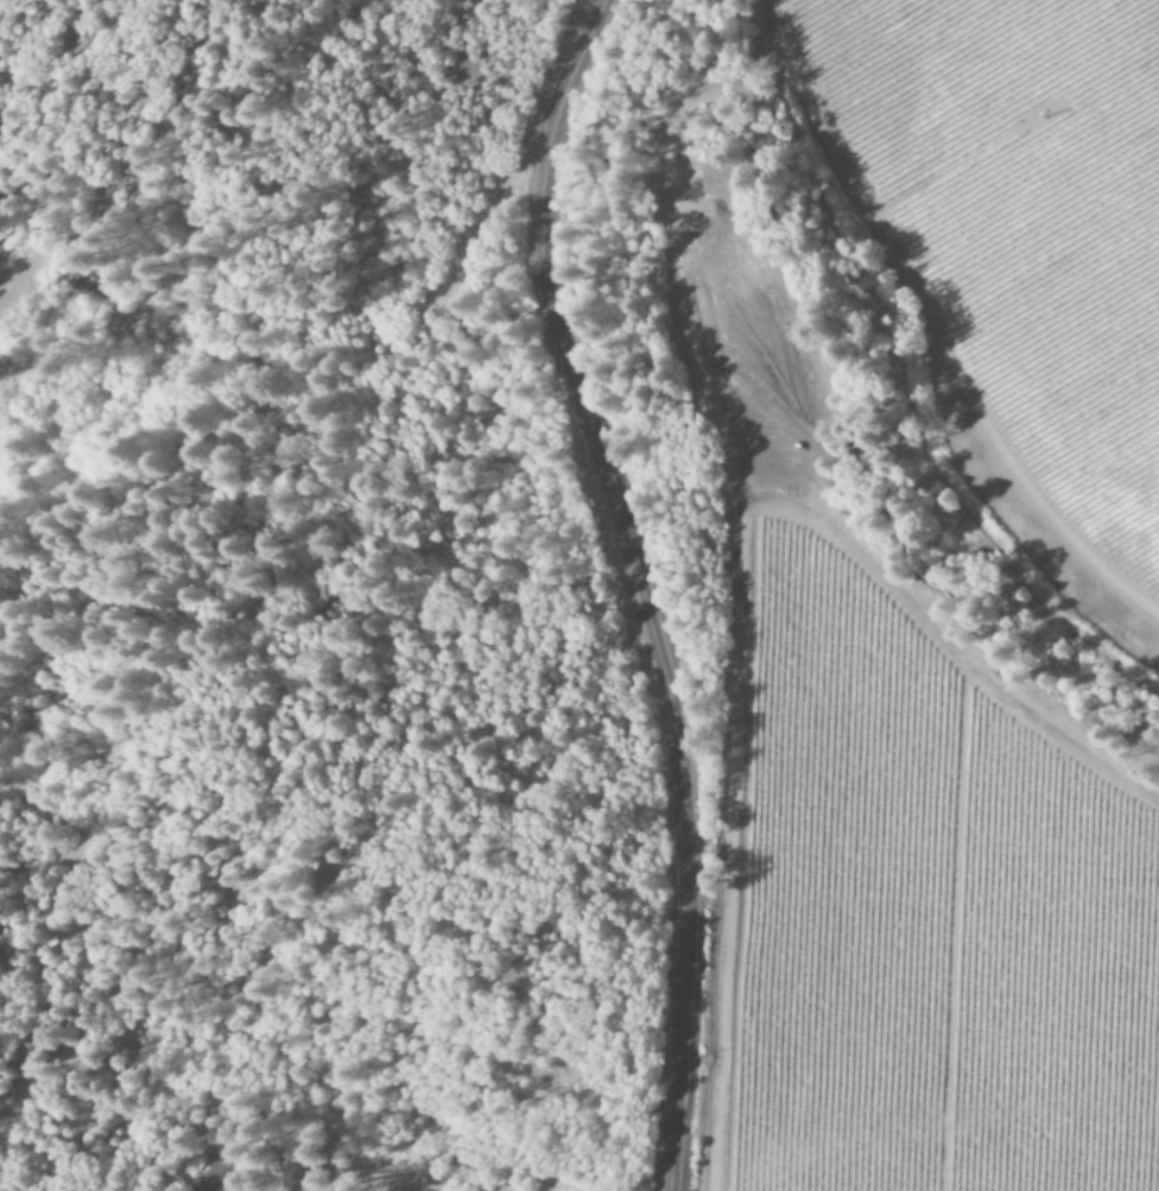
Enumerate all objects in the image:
road: (297, 359)
road: (639, 585)
building: (218, 1173)

